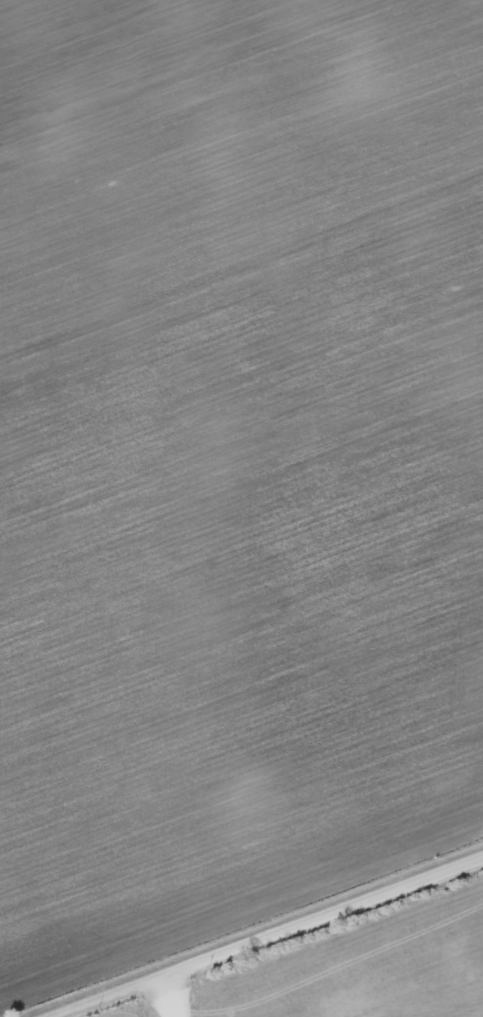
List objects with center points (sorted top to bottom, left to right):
road: (273, 939)

